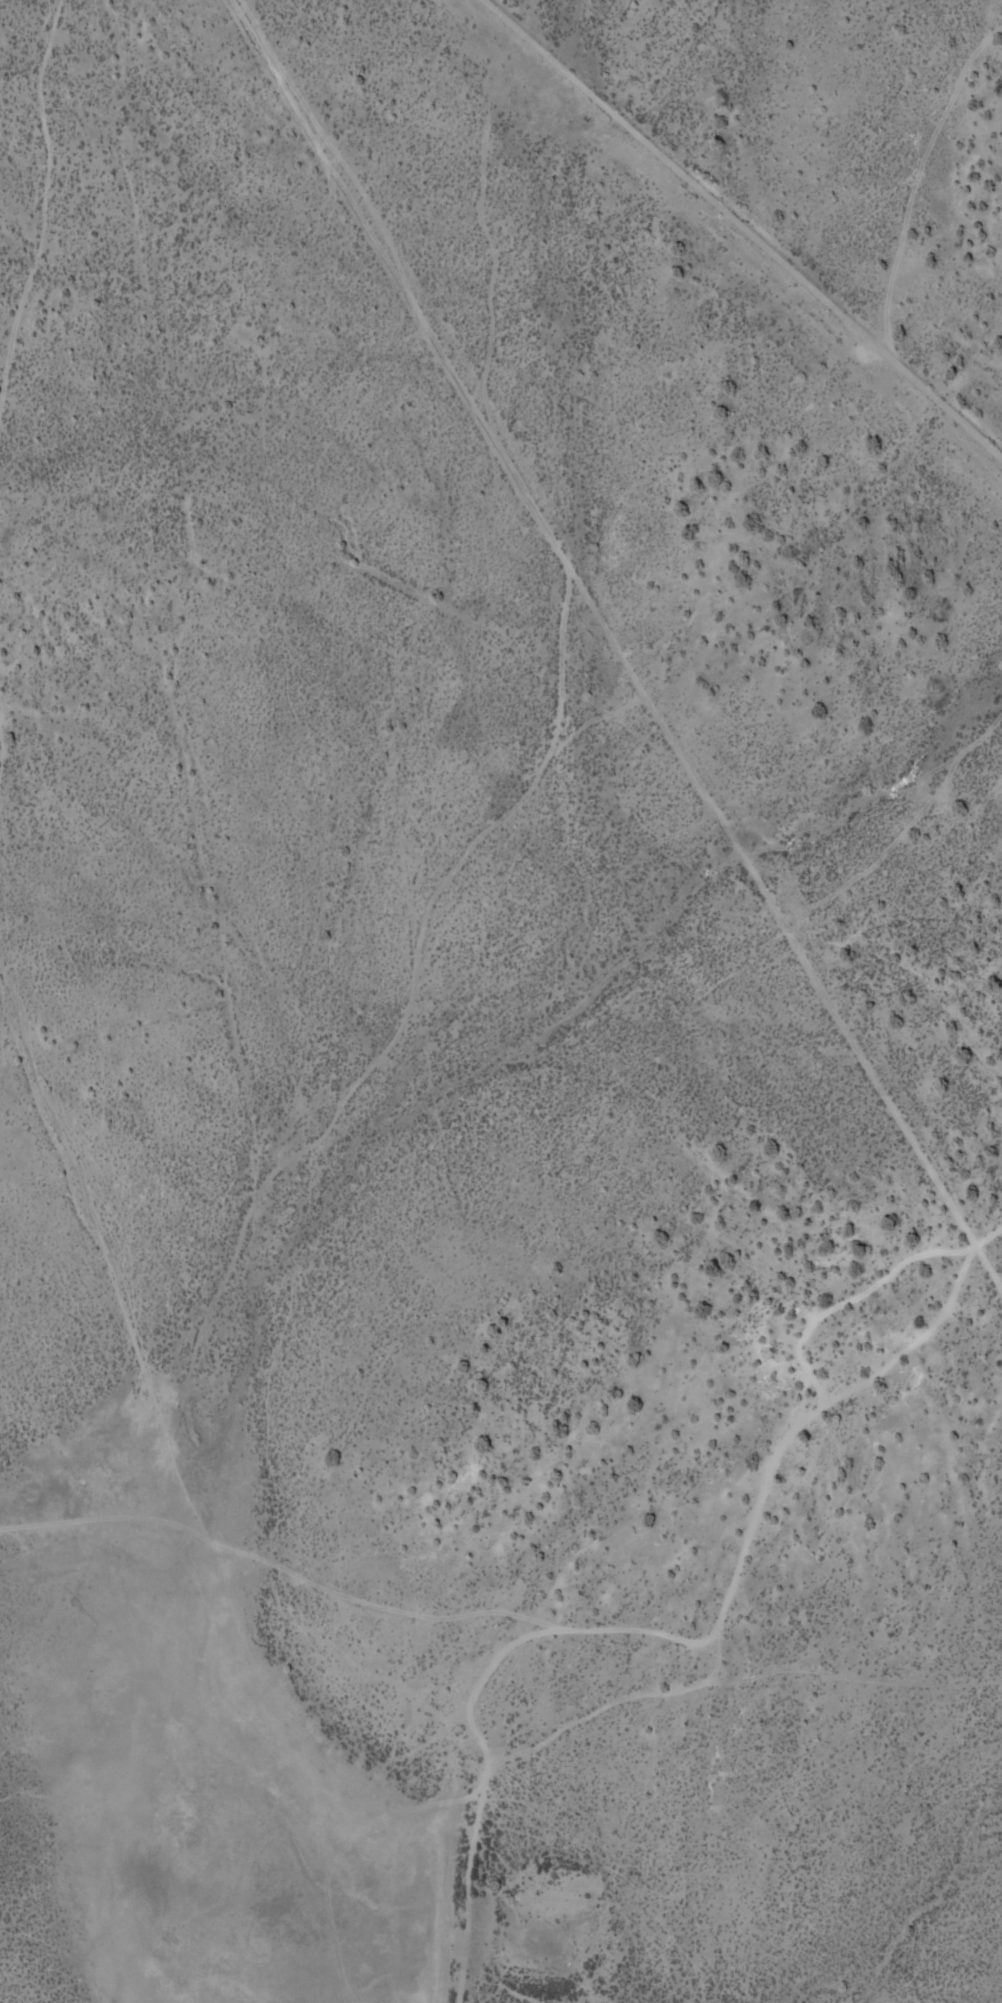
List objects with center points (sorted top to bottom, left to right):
road: (724, 248)
road: (502, 1581)

